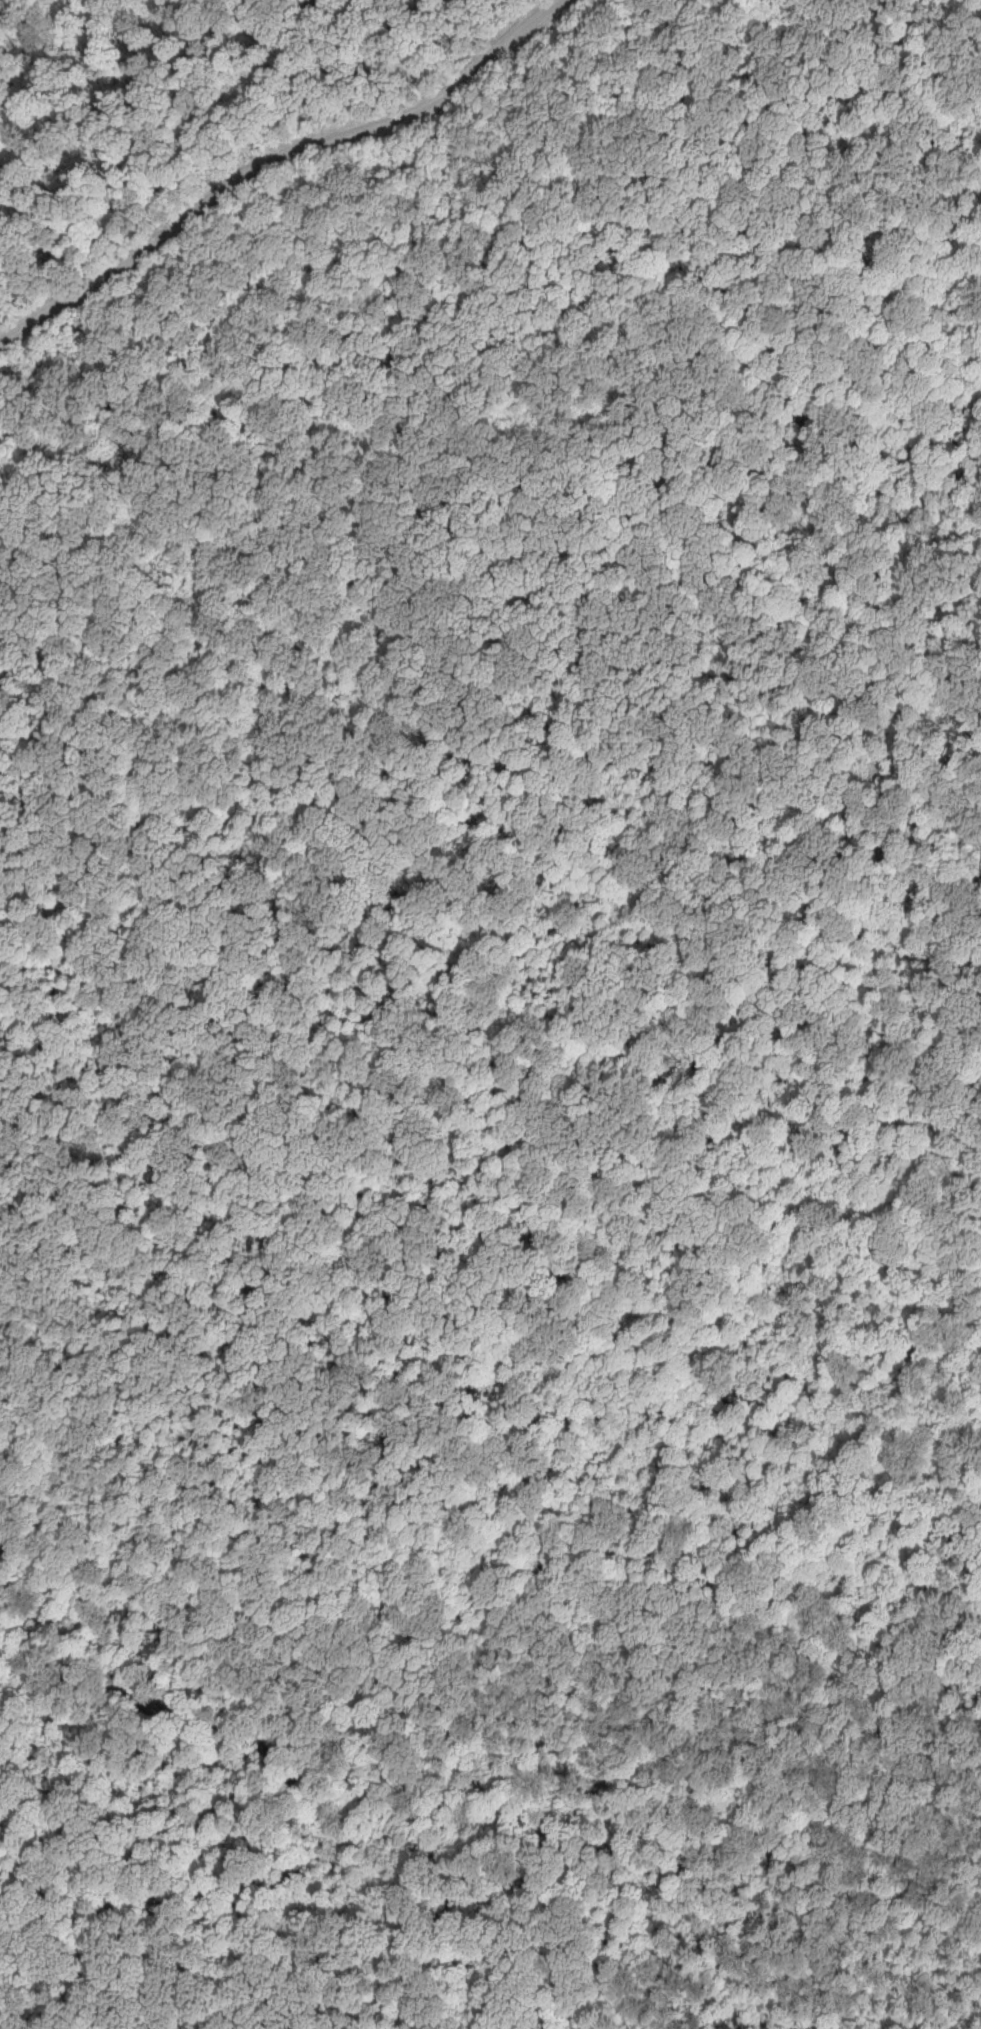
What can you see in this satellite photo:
road: (277, 166)

